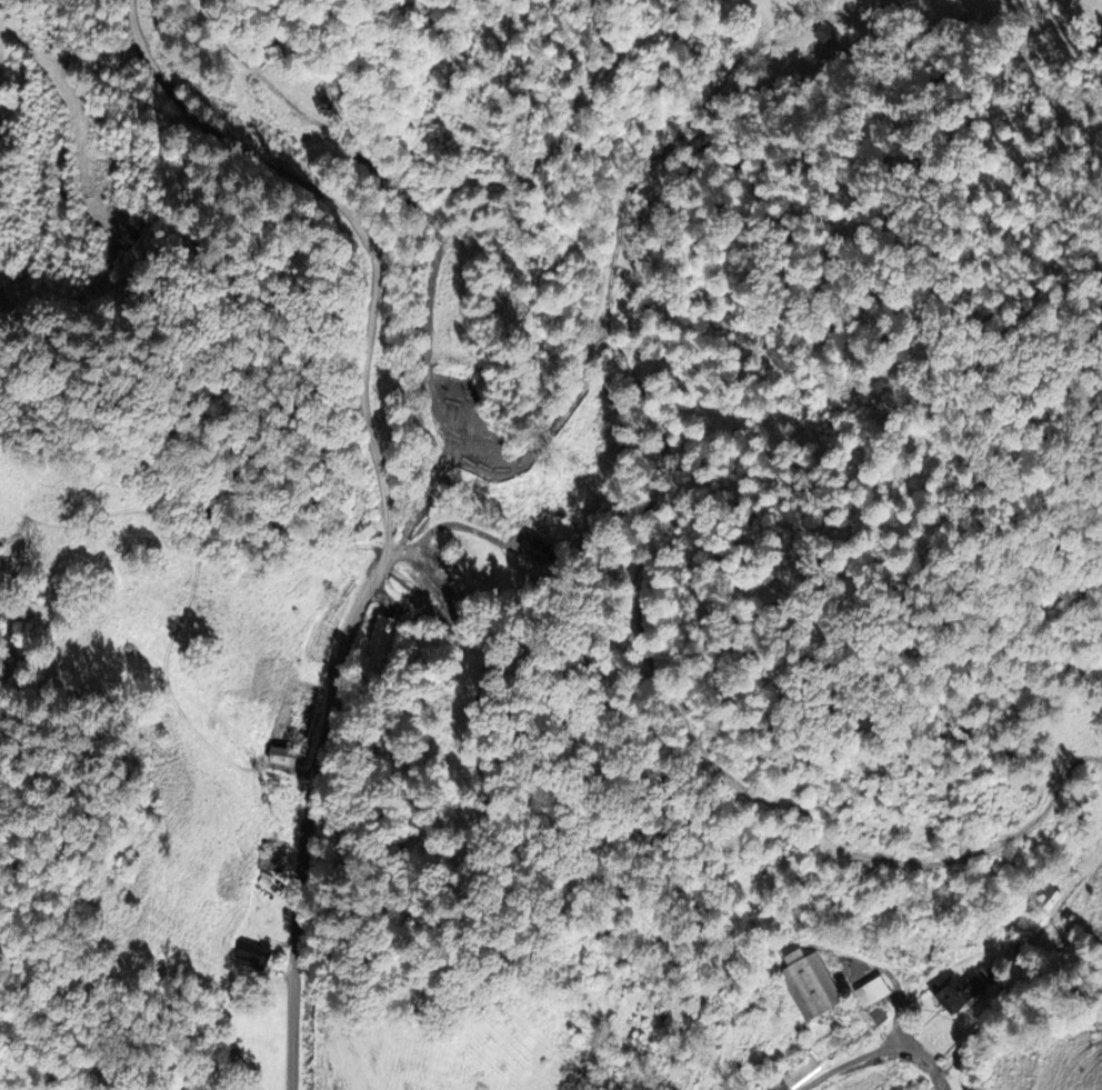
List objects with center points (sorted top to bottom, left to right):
building: (828, 33)
road: (385, 492)
building: (383, 647)
building: (256, 953)
building: (813, 987)
building: (876, 992)
building: (959, 993)
road: (878, 1051)
road: (3, 1083)

